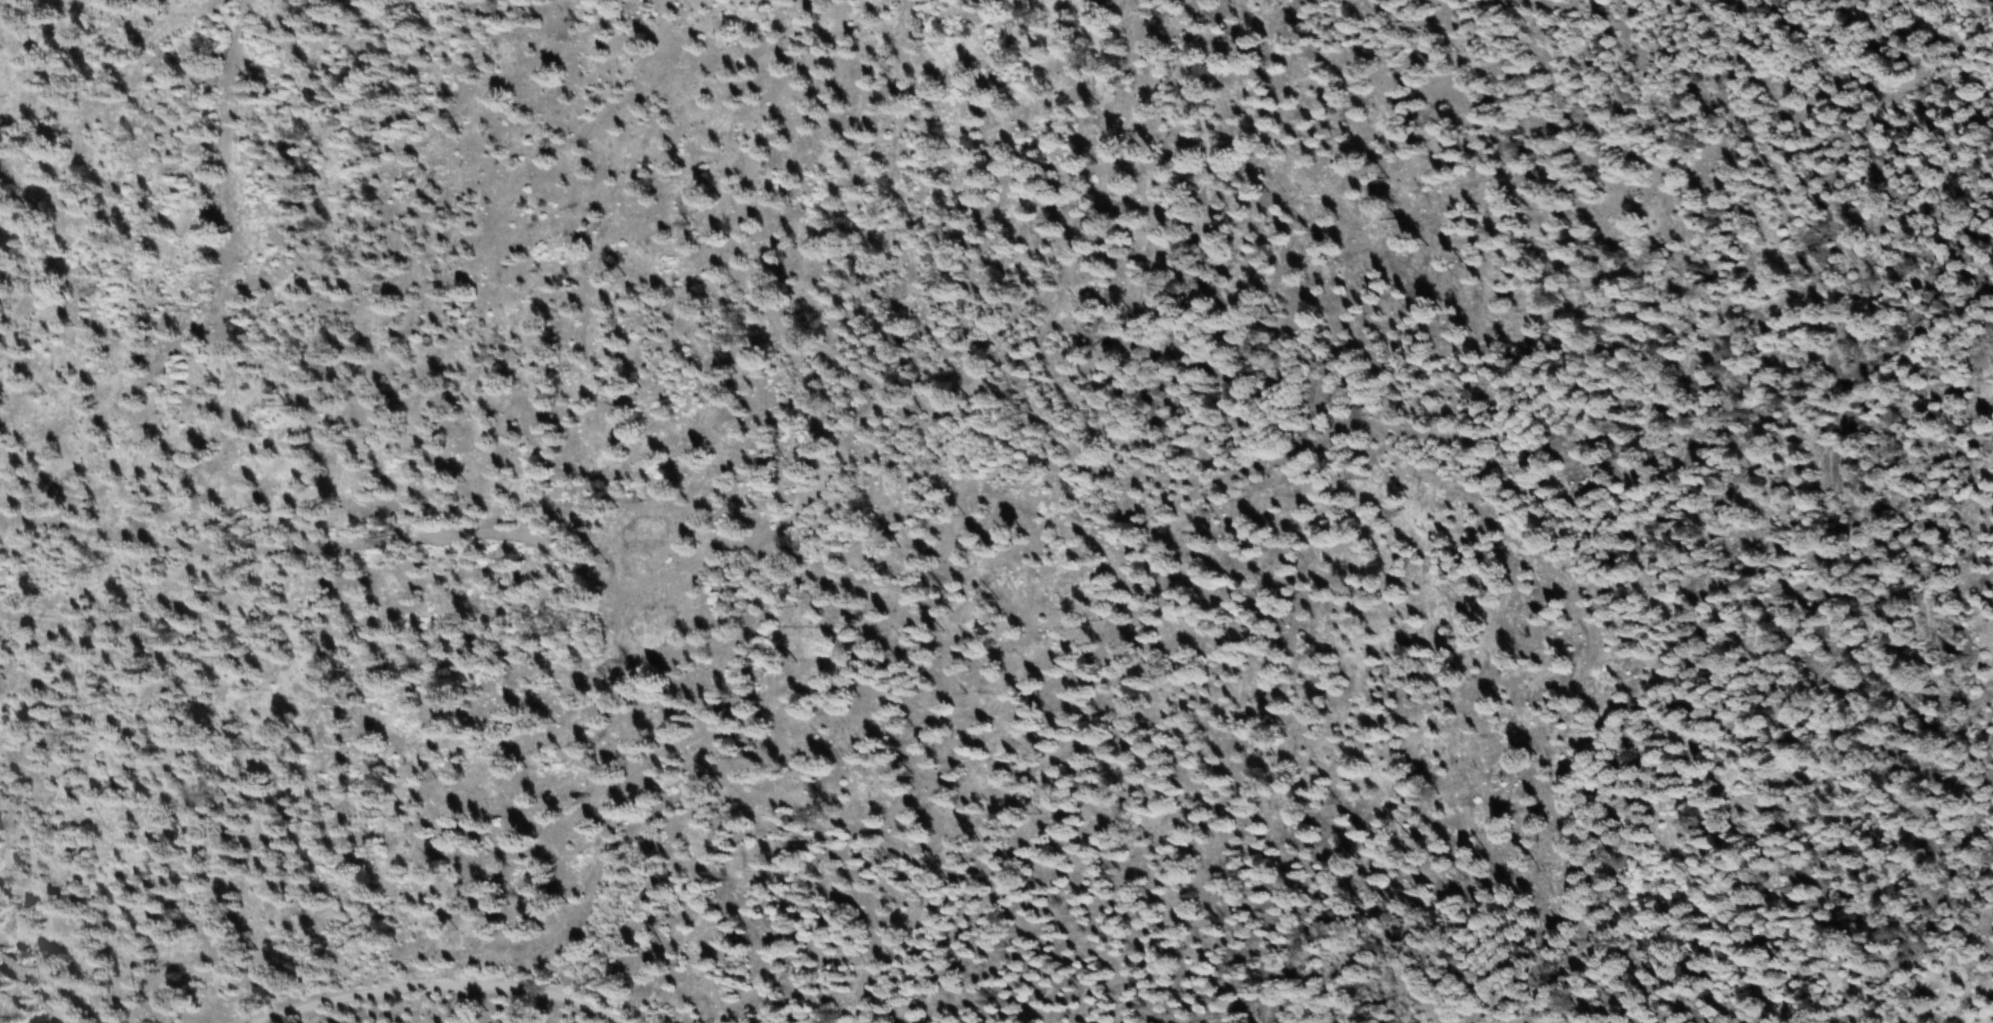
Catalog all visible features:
road: (434, 983)

